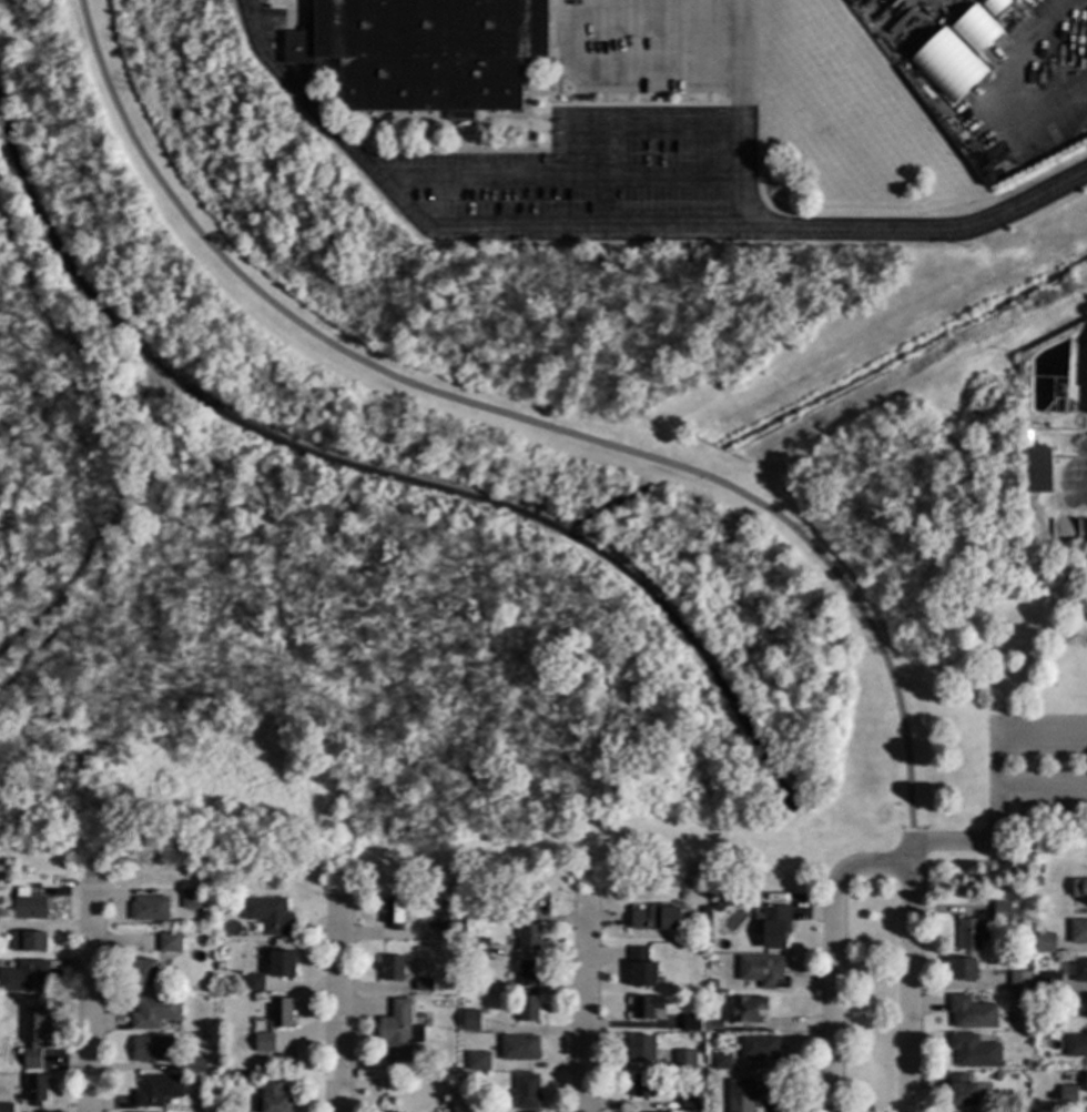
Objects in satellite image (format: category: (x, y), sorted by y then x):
road: (248, 4)
road: (253, 4)
building: (994, 6)
building: (976, 30)
building: (431, 51)
road: (746, 58)
building: (947, 65)
road: (637, 117)
road: (745, 145)
road: (482, 173)
road: (664, 173)
road: (745, 203)
road: (924, 232)
road: (436, 246)
road: (517, 417)
road: (123, 436)
building: (1037, 469)
park: (468, 509)
park: (1054, 701)
parking lot: (1036, 762)
road: (997, 780)
road: (1042, 787)
road: (911, 851)
building: (1037, 881)
building: (1079, 887)
building: (1026, 898)
building: (190, 899)
building: (529, 901)
building: (30, 907)
building: (718, 907)
building: (149, 908)
building: (486, 910)
building: (1000, 911)
building: (393, 913)
building: (270, 914)
building: (656, 918)
building: (774, 924)
building: (449, 926)
building: (1047, 930)
building: (1077, 931)
building: (720, 932)
building: (971, 933)
building: (529, 937)
building: (216, 938)
building: (28, 941)
building: (169, 942)
building: (1044, 943)
building: (476, 947)
road: (831, 952)
building: (461, 961)
building: (282, 963)
building: (219, 966)
building: (641, 967)
building: (392, 968)
building: (963, 969)
building: (1079, 969)
building: (764, 971)
building: (143, 973)
building: (526, 973)
building: (22, 975)
building: (1019, 980)
building: (470, 981)
building: (1052, 982)
building: (253, 983)
building: (423, 983)
building: (713, 983)
building: (1037, 984)
road: (908, 989)
building: (1019, 997)
road: (90, 998)
building: (701, 998)
road: (339, 1001)
building: (444, 1003)
road: (583, 1003)
building: (646, 1005)
building: (745, 1007)
building: (528, 1008)
building: (154, 1012)
building: (971, 1012)
building: (470, 1019)
building: (691, 1022)
building: (273, 1024)
building: (715, 1025)
building: (398, 1031)
building: (32, 1035)
building: (1076, 1044)
building: (519, 1048)
building: (641, 1048)
building: (152, 1049)
building: (759, 1049)
building: (974, 1051)
building: (684, 1060)
building: (195, 1061)
building: (477, 1061)
building: (721, 1061)
building: (1026, 1063)
building: (1038, 1065)
building: (995, 1074)
building: (464, 1075)
building: (1086, 1082)
building: (642, 1084)
building: (35, 1089)
building: (158, 1090)
building: (962, 1090)
building: (527, 1091)
building: (750, 1093)
building: (1067, 1093)
building: (273, 1099)
building: (690, 1103)
building: (6, 1108)

